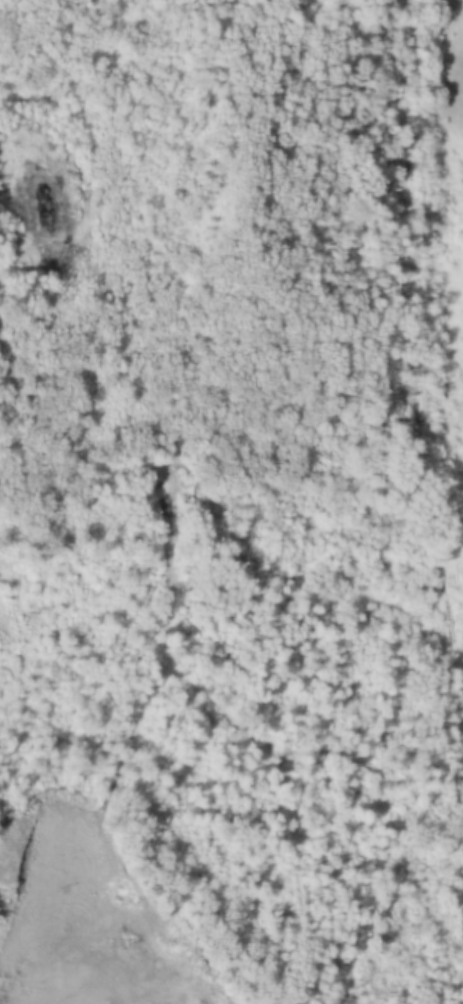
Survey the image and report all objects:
quarry: (93, 947)

